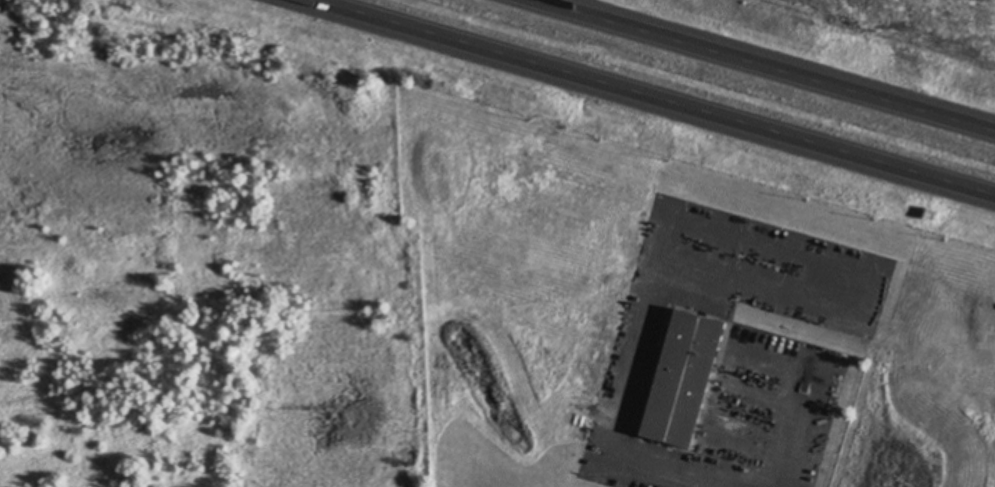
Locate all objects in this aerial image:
crop: (911, 23)
road: (770, 64)
road: (647, 99)
building: (674, 376)

